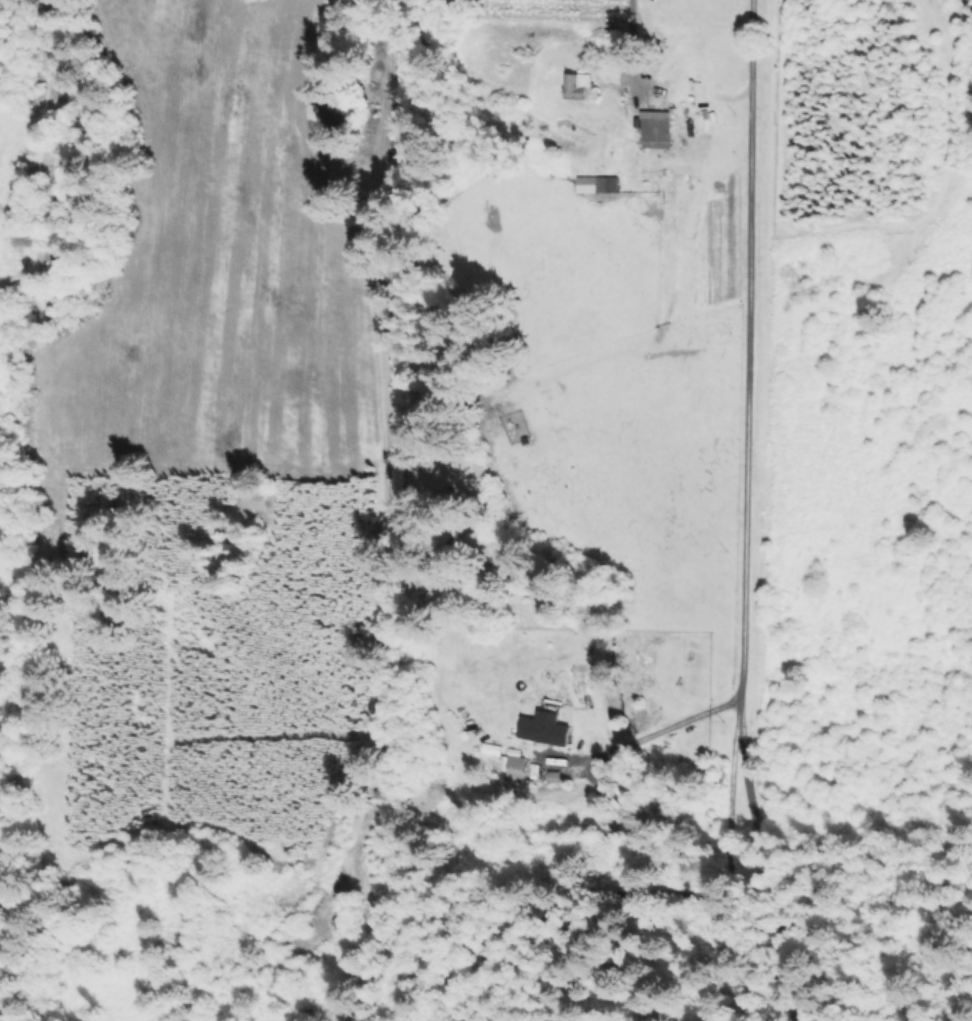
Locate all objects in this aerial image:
road: (635, 51)
building: (579, 86)
building: (336, 115)
building: (656, 132)
road: (744, 424)
building: (541, 736)
building: (512, 770)

